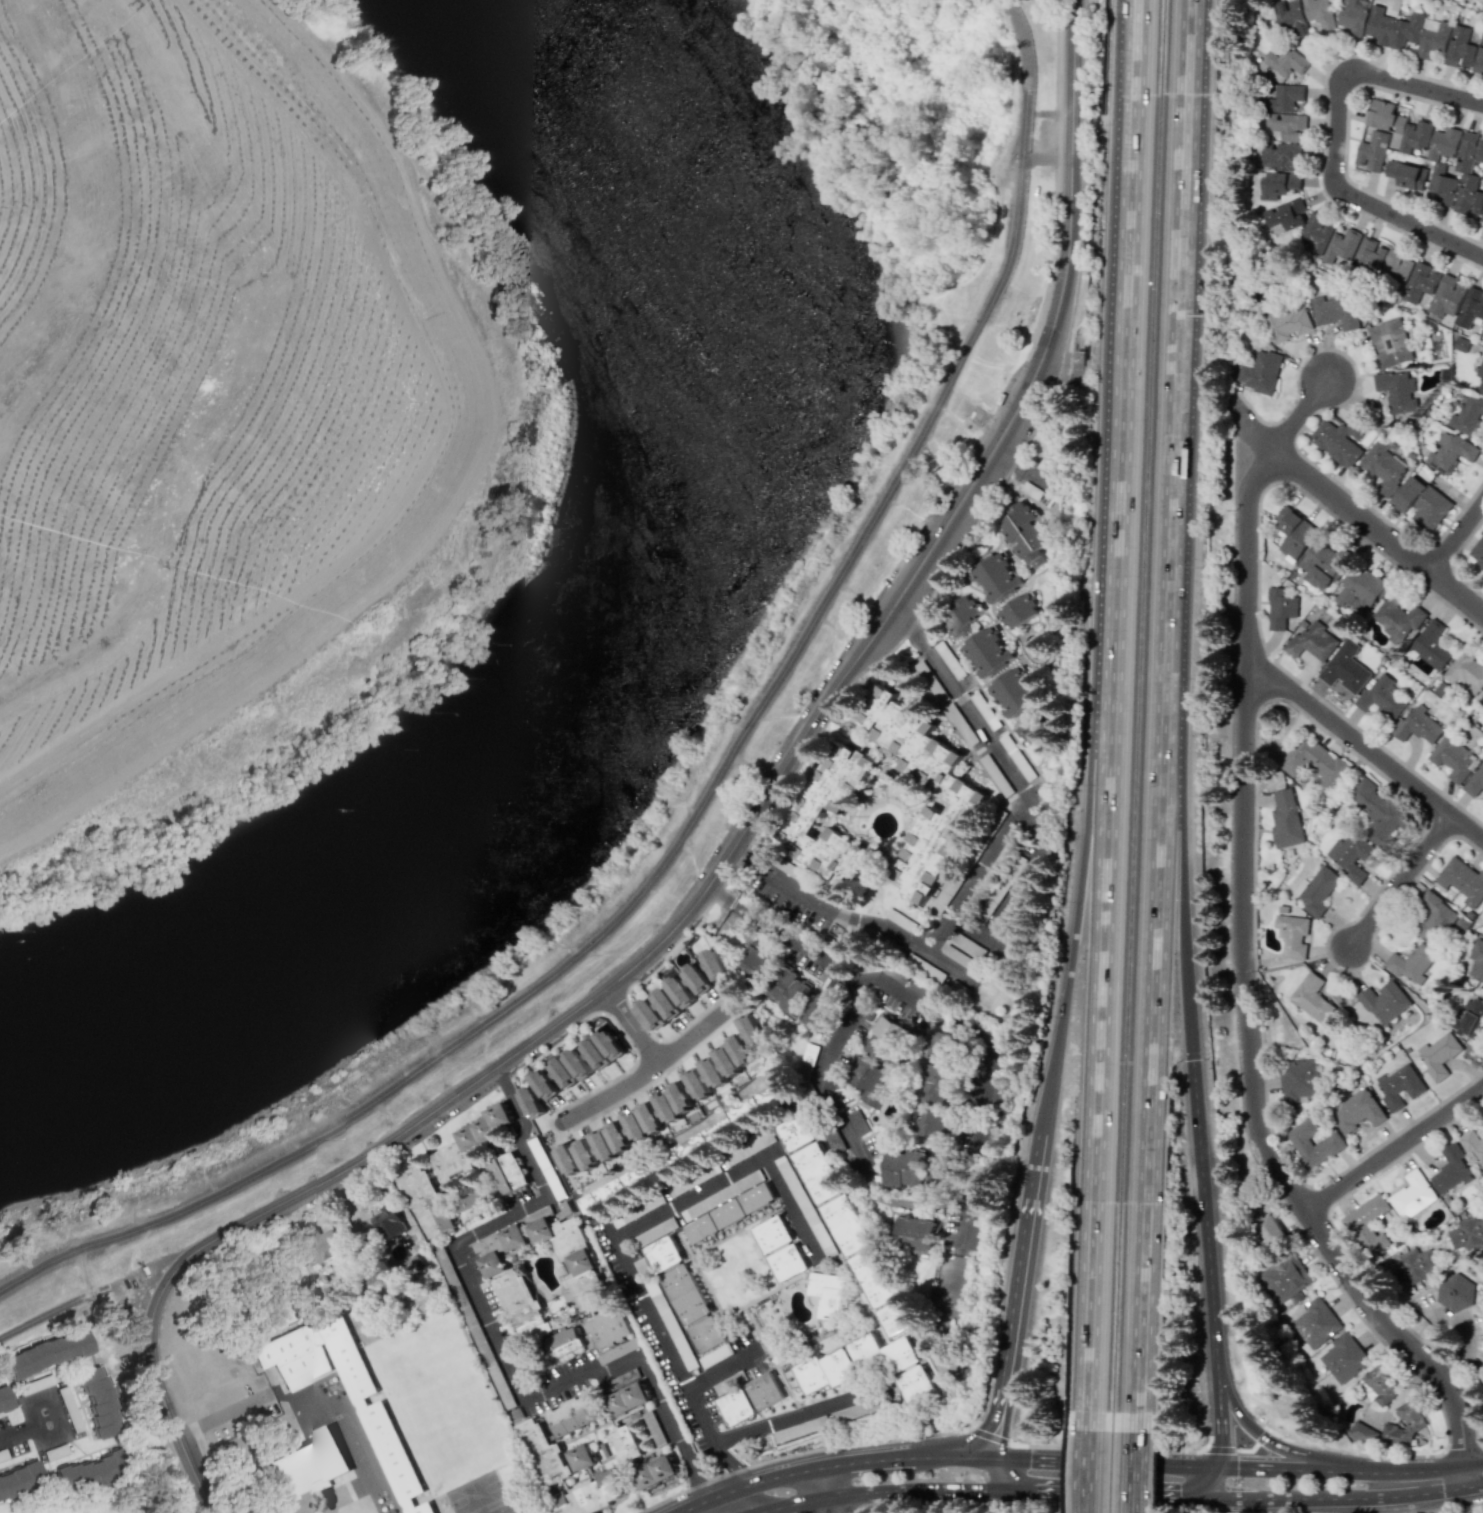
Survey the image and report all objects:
road: (1190, 13)
road: (1192, 13)
building: (1317, 14)
building: (1288, 17)
building: (1351, 18)
building: (1391, 28)
building: (1432, 37)
building: (1459, 48)
building: (1479, 59)
building: (1285, 61)
road: (1069, 79)
building: (1284, 113)
building: (1399, 126)
road: (1335, 135)
building: (1371, 151)
building: (1279, 156)
road: (1046, 159)
building: (1407, 175)
building: (1482, 177)
building: (1275, 184)
building: (1469, 195)
building: (1283, 214)
building: (1482, 219)
building: (1314, 235)
building: (1341, 245)
building: (1367, 257)
building: (1393, 270)
building: (1419, 282)
building: (1447, 294)
building: (1470, 307)
building: (1336, 311)
building: (1286, 321)
road: (1131, 332)
building: (1482, 332)
road: (1174, 342)
building: (1391, 342)
building: (996, 357)
building: (1260, 372)
building: (1480, 377)
building: (1395, 391)
building: (1467, 415)
road: (1302, 416)
building: (1338, 440)
building: (1450, 452)
building: (1384, 467)
road: (444, 493)
building: (1423, 503)
building: (1294, 533)
building: (1025, 534)
road: (1457, 539)
building: (1478, 554)
building: (1322, 565)
building: (996, 578)
building: (1360, 590)
building: (1280, 608)
building: (1019, 612)
building: (959, 616)
building: (1398, 618)
building: (1312, 642)
building: (1431, 646)
building: (986, 652)
building: (1345, 668)
building: (1467, 673)
road: (1243, 686)
building: (1013, 693)
building: (1382, 697)
road: (962, 699)
building: (1482, 701)
river: (622, 704)
building: (1418, 726)
building: (1028, 728)
road: (1364, 746)
building: (1453, 758)
building: (1314, 763)
building: (1475, 781)
building: (946, 783)
road: (710, 795)
building: (1379, 811)
building: (1286, 819)
building: (802, 820)
building: (1351, 856)
road: (720, 870)
road: (976, 875)
building: (1461, 881)
road: (1403, 882)
road: (1011, 887)
building: (1316, 890)
road: (1079, 892)
building: (1433, 917)
road: (851, 921)
building: (1292, 935)
building: (1476, 960)
building: (715, 963)
building: (757, 964)
building: (1412, 964)
building: (698, 979)
building: (787, 990)
building: (681, 991)
building: (1311, 997)
building: (1384, 1002)
building: (667, 1004)
building: (818, 1011)
road: (1185, 1011)
building: (651, 1014)
building: (1471, 1018)
road: (634, 1025)
building: (751, 1030)
road: (966, 1030)
road: (1146, 1037)
road: (1105, 1038)
building: (885, 1039)
building: (610, 1044)
building: (939, 1044)
building: (596, 1053)
building: (1438, 1054)
building: (737, 1060)
building: (578, 1063)
road: (647, 1067)
building: (563, 1072)
building: (715, 1077)
building: (1298, 1079)
building: (869, 1080)
building: (936, 1083)
building: (544, 1084)
building: (698, 1085)
building: (1399, 1085)
building: (681, 1098)
building: (532, 1102)
building: (757, 1103)
road: (835, 1106)
building: (667, 1108)
building: (1356, 1110)
building: (651, 1118)
building: (930, 1123)
building: (635, 1126)
building: (794, 1132)
building: (1331, 1141)
building: (471, 1142)
building: (603, 1145)
building: (695, 1145)
building: (1473, 1146)
road: (1396, 1151)
building: (586, 1154)
building: (568, 1159)
building: (904, 1169)
building: (1452, 1169)
building: (507, 1173)
building: (817, 1173)
building: (616, 1189)
building: (1413, 1195)
building: (425, 1200)
building: (475, 1204)
building: (727, 1213)
building: (388, 1222)
building: (845, 1224)
building: (1367, 1225)
building: (1269, 1228)
building: (772, 1234)
building: (914, 1234)
building: (1467, 1234)
building: (514, 1237)
building: (323, 1247)
road: (617, 1248)
building: (662, 1254)
building: (492, 1255)
building: (574, 1259)
building: (787, 1262)
building: (410, 1266)
building: (1414, 1266)
road: (150, 1268)
road: (84, 1272)
building: (873, 1277)
building: (1285, 1278)
road: (1017, 1288)
parking lot: (134, 1292)
building: (1455, 1292)
building: (825, 1293)
building: (685, 1294)
road: (77, 1300)
building: (521, 1305)
building: (896, 1317)
road: (1463, 1318)
building: (1316, 1322)
building: (608, 1328)
building: (706, 1333)
road: (1404, 1341)
building: (563, 1342)
road: (496, 1343)
building: (47, 1352)
building: (883, 1353)
building: (1344, 1357)
road: (723, 1370)
building: (825, 1371)
building: (915, 1383)
building: (1379, 1385)
building: (765, 1391)
building: (3, 1398)
building: (627, 1399)
building: (97, 1401)
building: (736, 1407)
road: (1218, 1410)
building: (574, 1414)
road: (788, 1416)
building: (1407, 1425)
building: (654, 1428)
road: (1266, 1433)
building: (1364, 1433)
road: (21, 1438)
building: (384, 1443)
building: (625, 1443)
road: (189, 1450)
building: (545, 1453)
road: (951, 1456)
road: (1105, 1456)
building: (582, 1457)
road: (863, 1462)
road: (1089, 1462)
road: (1282, 1462)
building: (307, 1464)
road: (1131, 1464)
road: (1407, 1466)
building: (86, 1472)
building: (656, 1472)
road: (1000, 1472)
road: (1219, 1474)
road: (1474, 1477)
building: (19, 1482)
road: (745, 1484)
road: (914, 1487)
road: (1448, 1488)
road: (818, 1490)
road: (1115, 1490)
road: (1324, 1493)
building: (590, 1494)
road: (1429, 1502)
road: (789, 1503)
road: (756, 1511)

